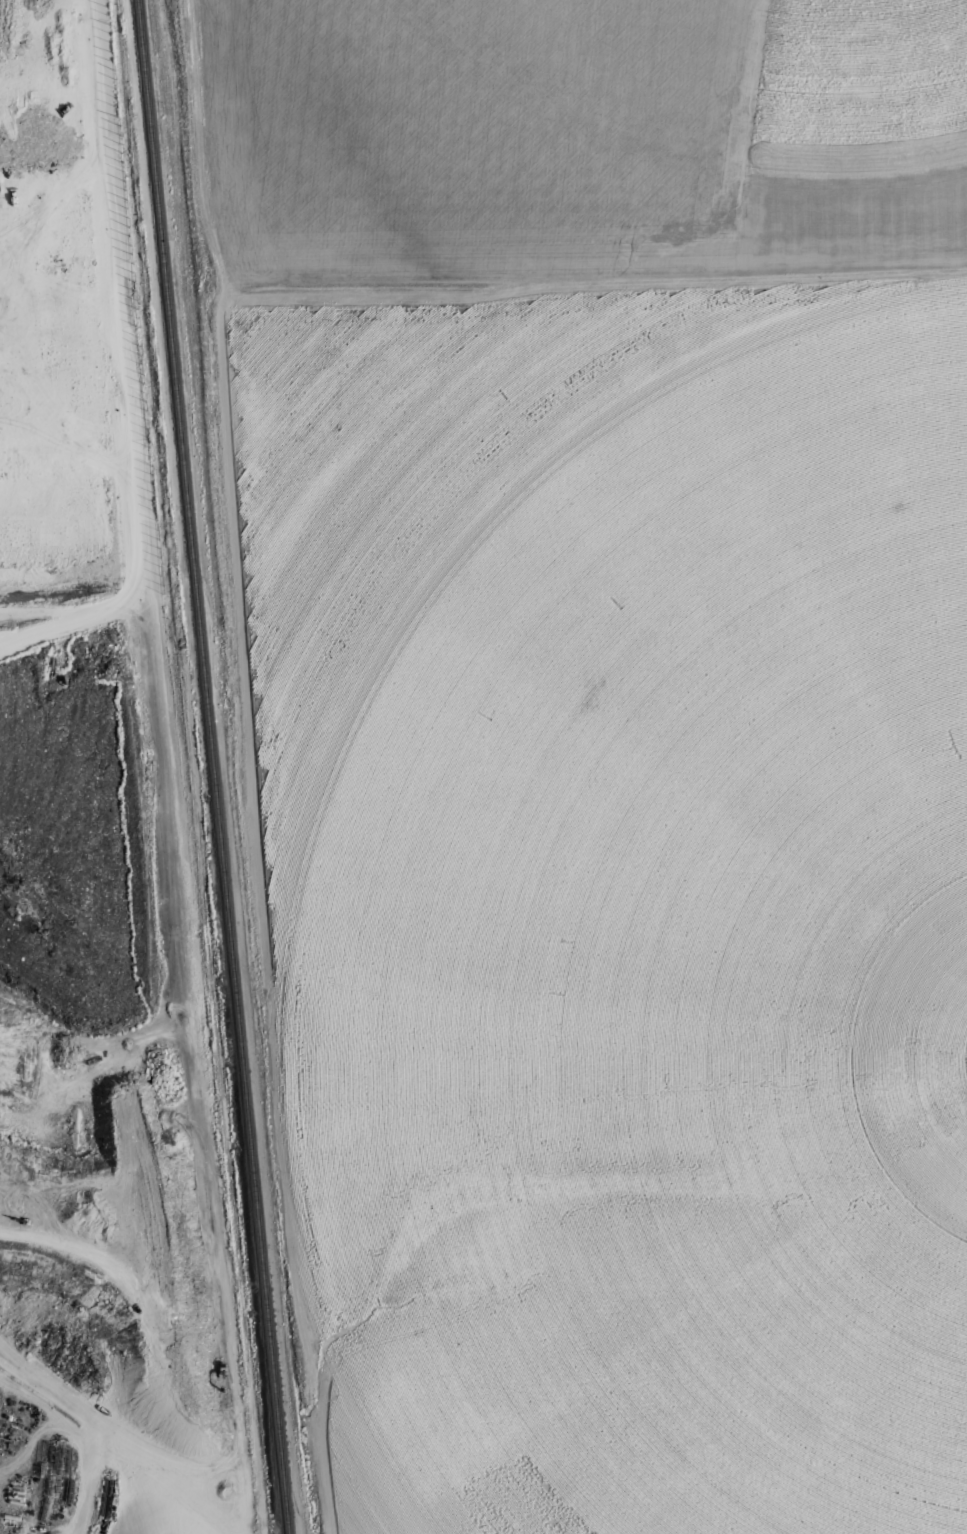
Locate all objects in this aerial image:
road: (596, 280)
road: (128, 363)
road: (42, 611)
crop: (619, 657)
road: (240, 766)
railway: (214, 767)
road: (171, 825)
road: (99, 1252)
road: (218, 1268)
crop: (638, 1275)
road: (110, 1430)
road: (70, 1440)
road: (29, 1447)

